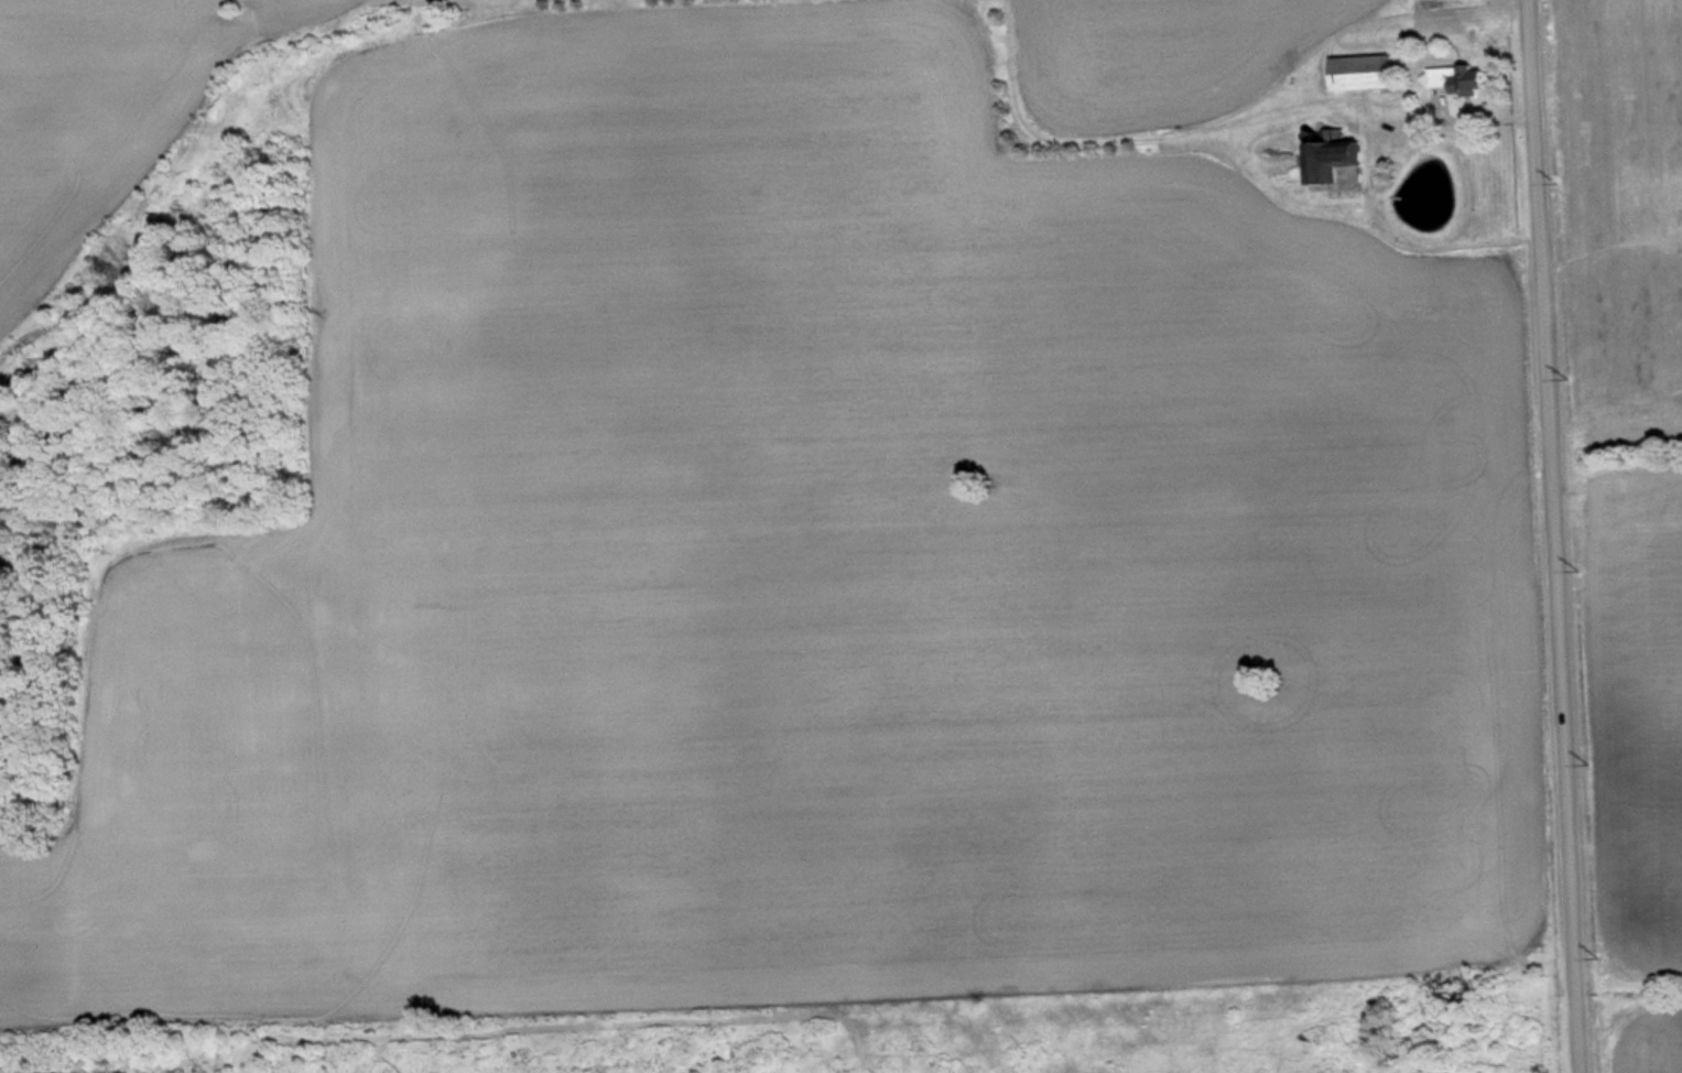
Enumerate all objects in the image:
building: (1367, 72)
building: (1464, 79)
building: (1345, 160)
road: (1549, 536)

